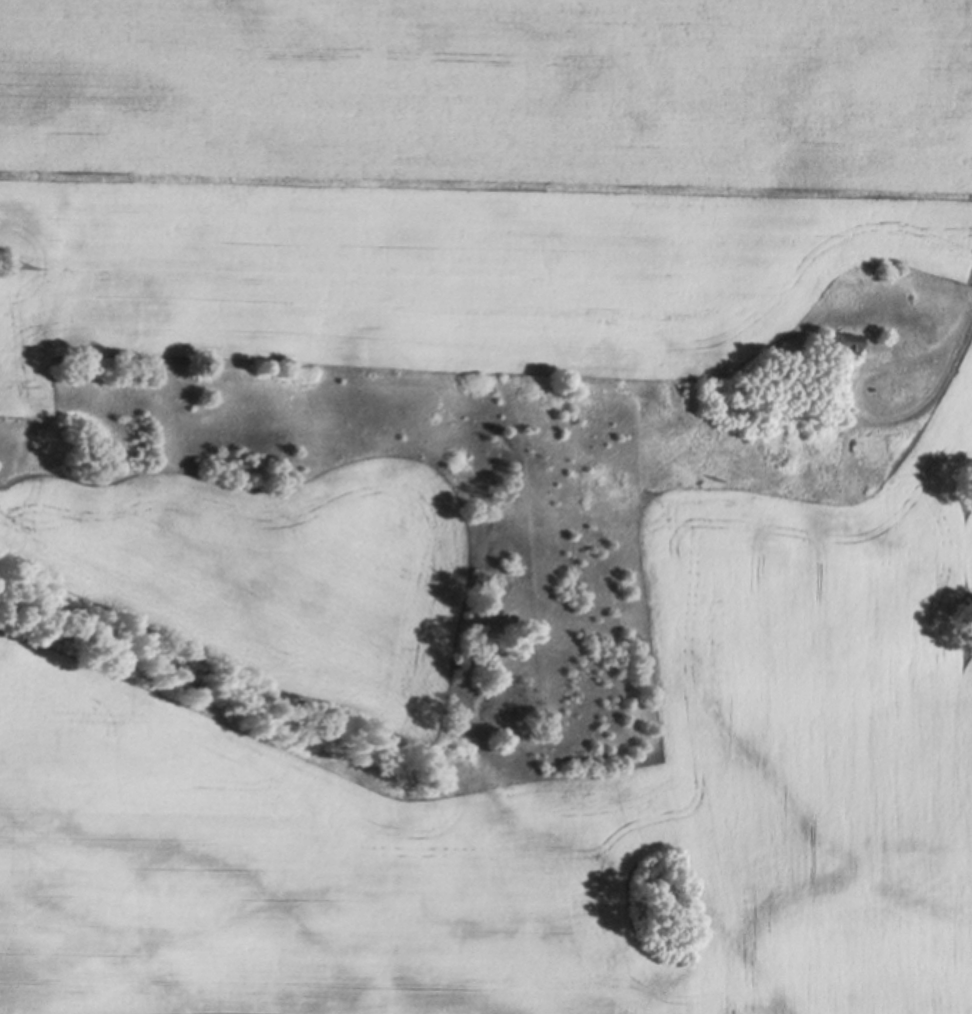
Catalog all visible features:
building: (844, 340)
building: (827, 395)
building: (843, 411)

